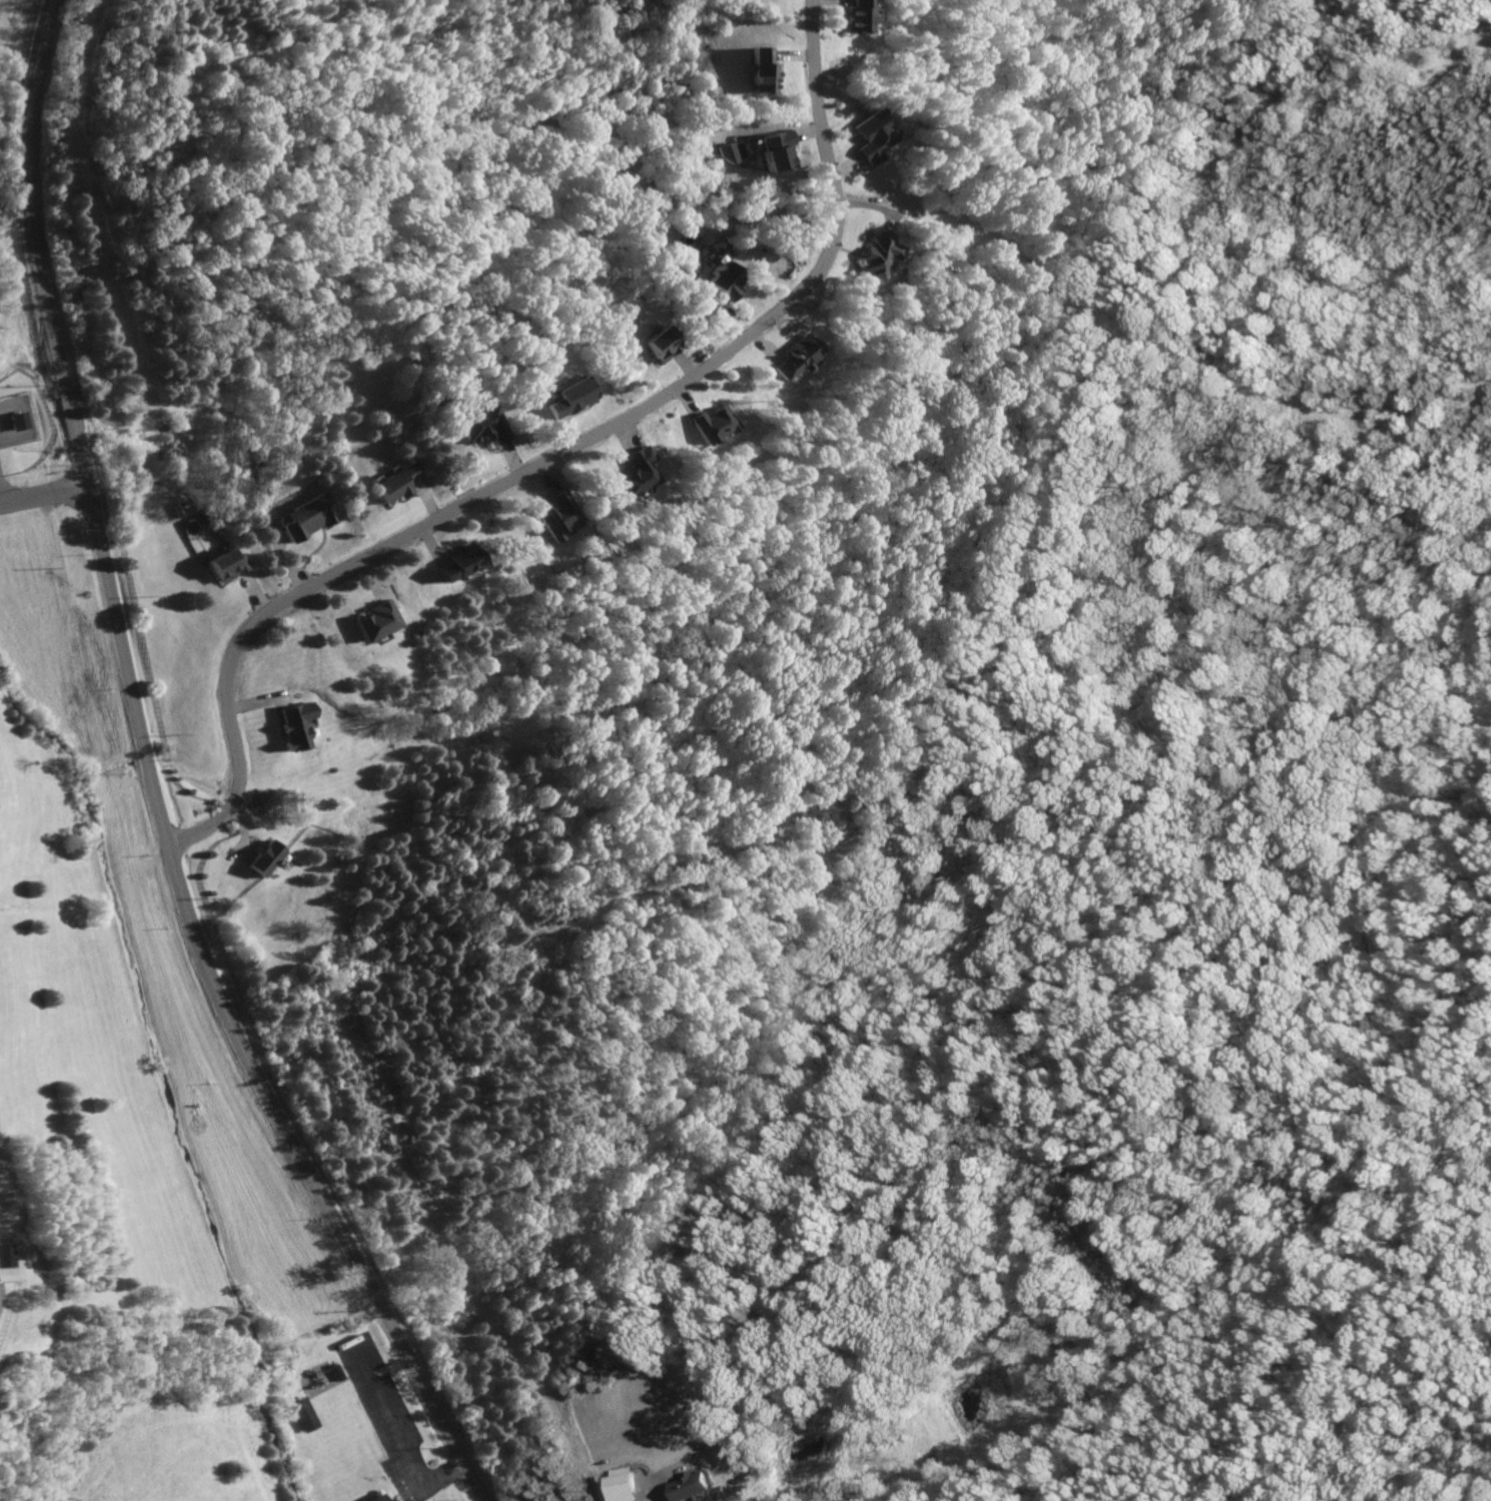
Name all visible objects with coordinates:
building: (849, 17)
building: (757, 72)
building: (866, 139)
building: (772, 152)
building: (723, 155)
building: (875, 255)
building: (721, 281)
building: (657, 344)
building: (793, 359)
building: (567, 397)
building: (16, 421)
building: (480, 424)
building: (709, 424)
road: (552, 458)
building: (632, 473)
building: (396, 484)
road: (44, 493)
building: (307, 517)
building: (557, 517)
building: (457, 564)
building: (227, 565)
building: (376, 621)
building: (295, 725)
road: (154, 780)
building: (266, 859)
building: (4, 1257)
building: (305, 1415)
building: (691, 1487)
building: (623, 1488)
building: (378, 1498)
building: (390, 1500)

